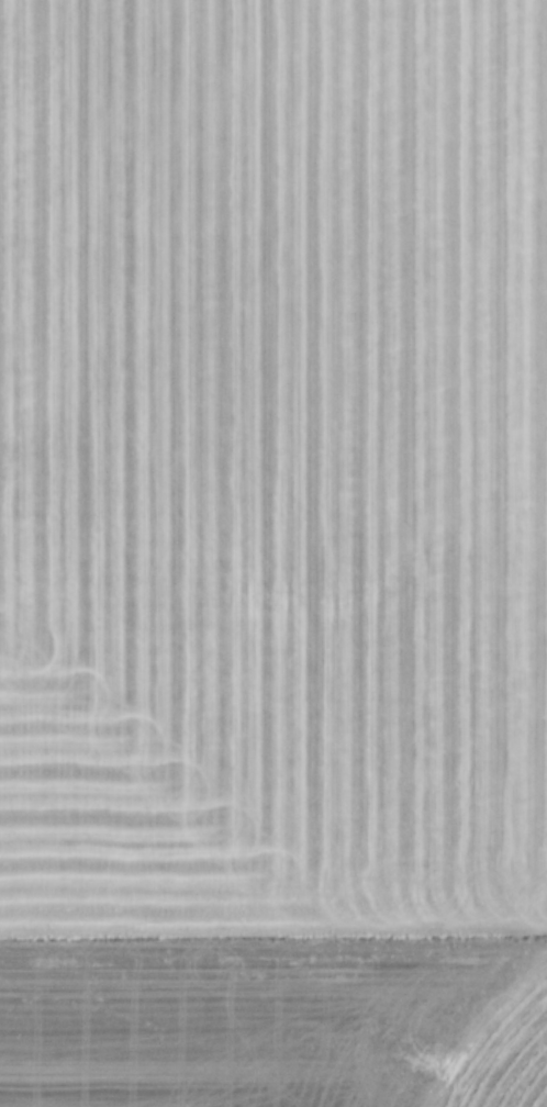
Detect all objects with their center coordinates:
crop: (525, 1075)

